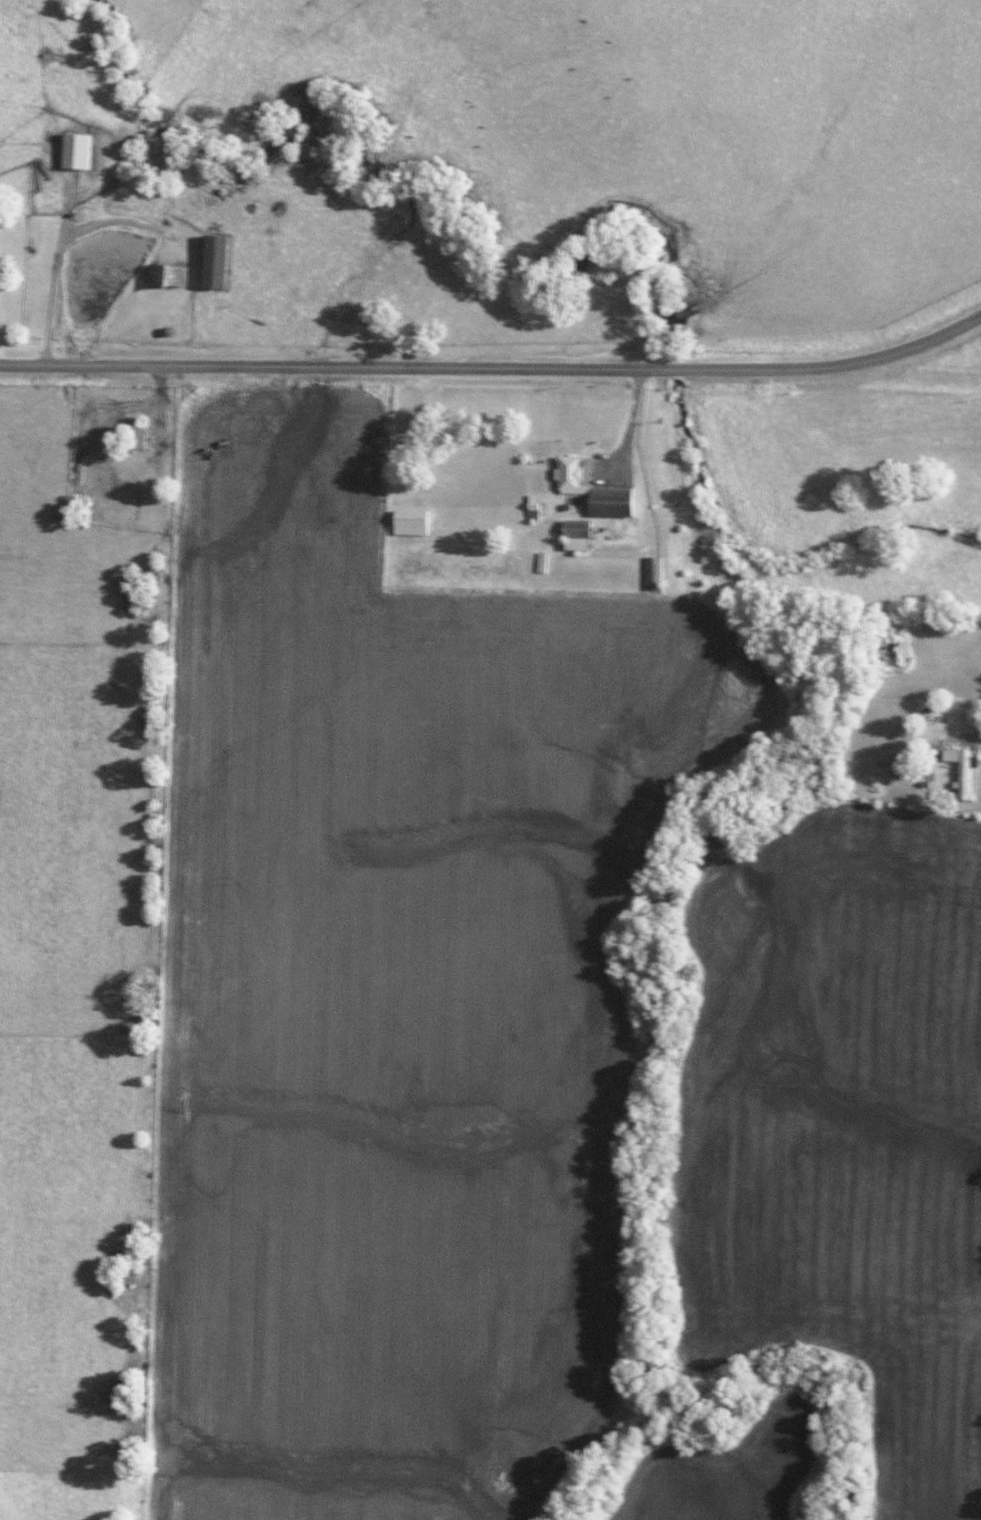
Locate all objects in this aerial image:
building: (74, 150)
building: (213, 262)
road: (55, 268)
building: (165, 274)
road: (496, 367)
road: (628, 436)
building: (133, 437)
building: (591, 490)
building: (531, 510)
building: (408, 522)
road: (210, 533)
building: (574, 534)
building: (650, 573)
building: (958, 768)

